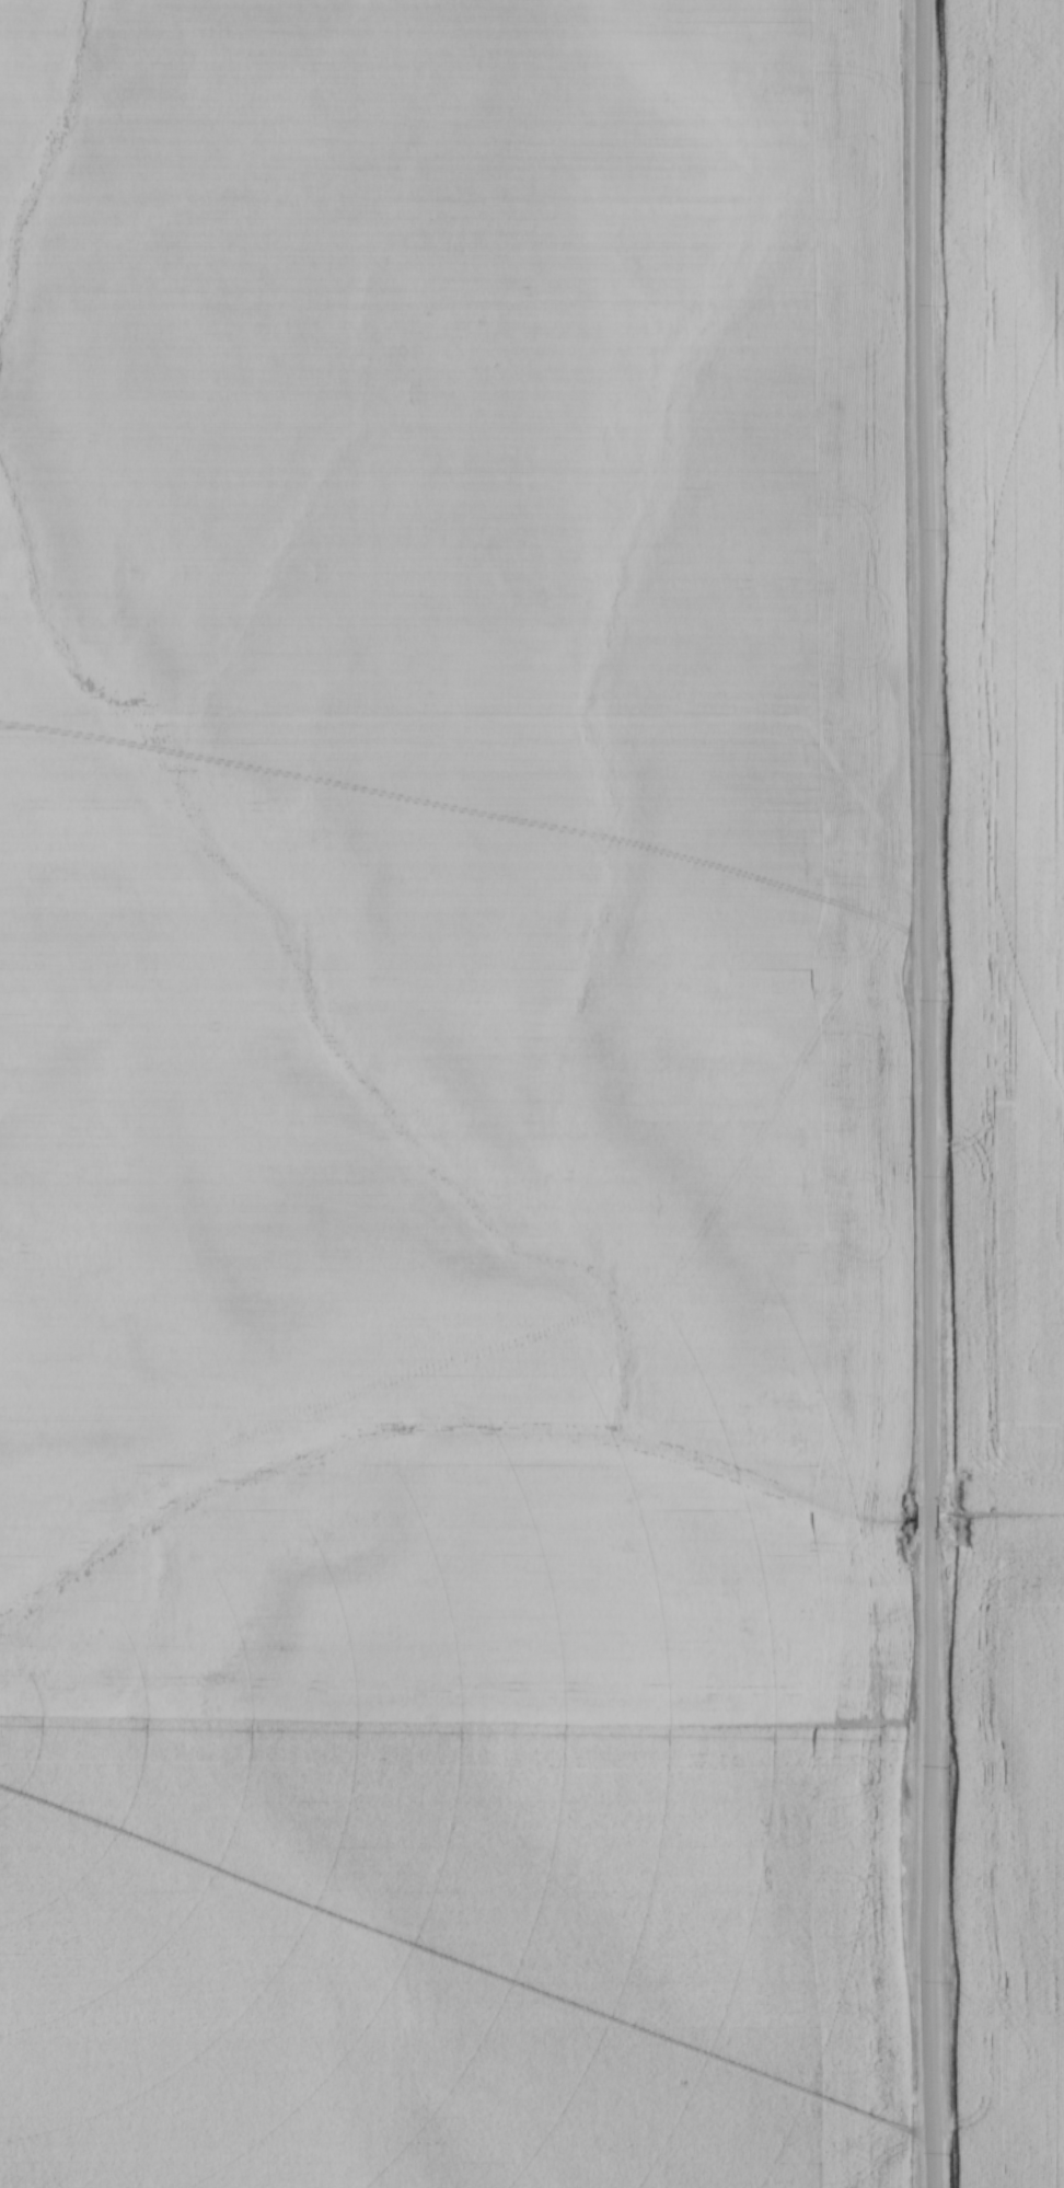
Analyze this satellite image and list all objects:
road: (924, 1094)

